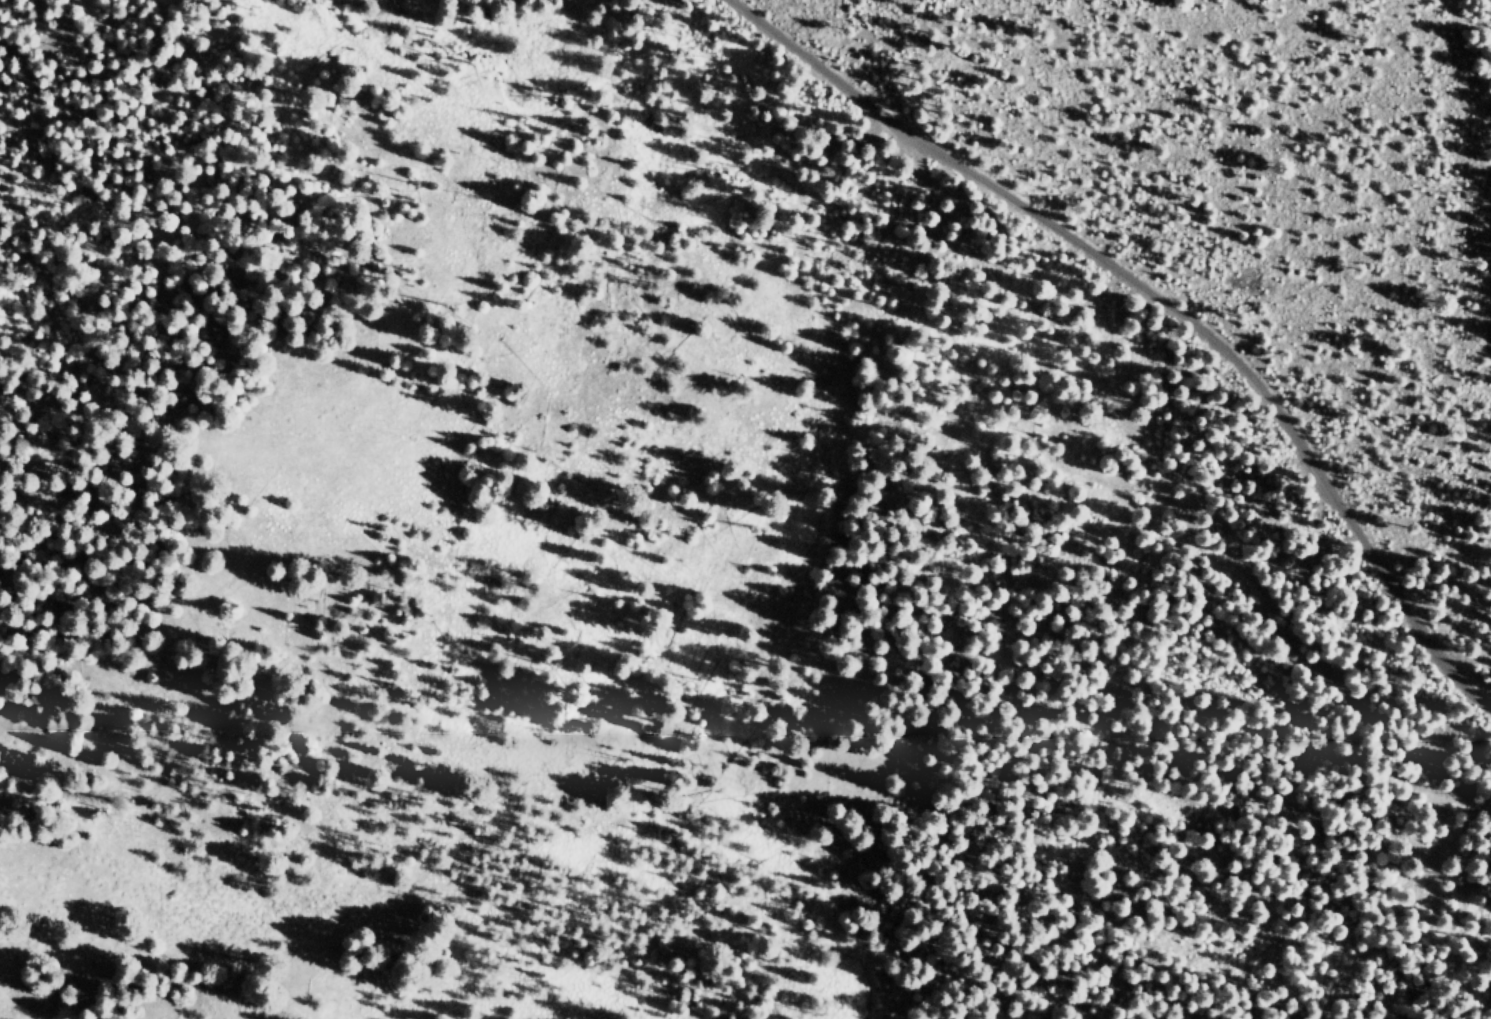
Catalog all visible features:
road: (1187, 302)

